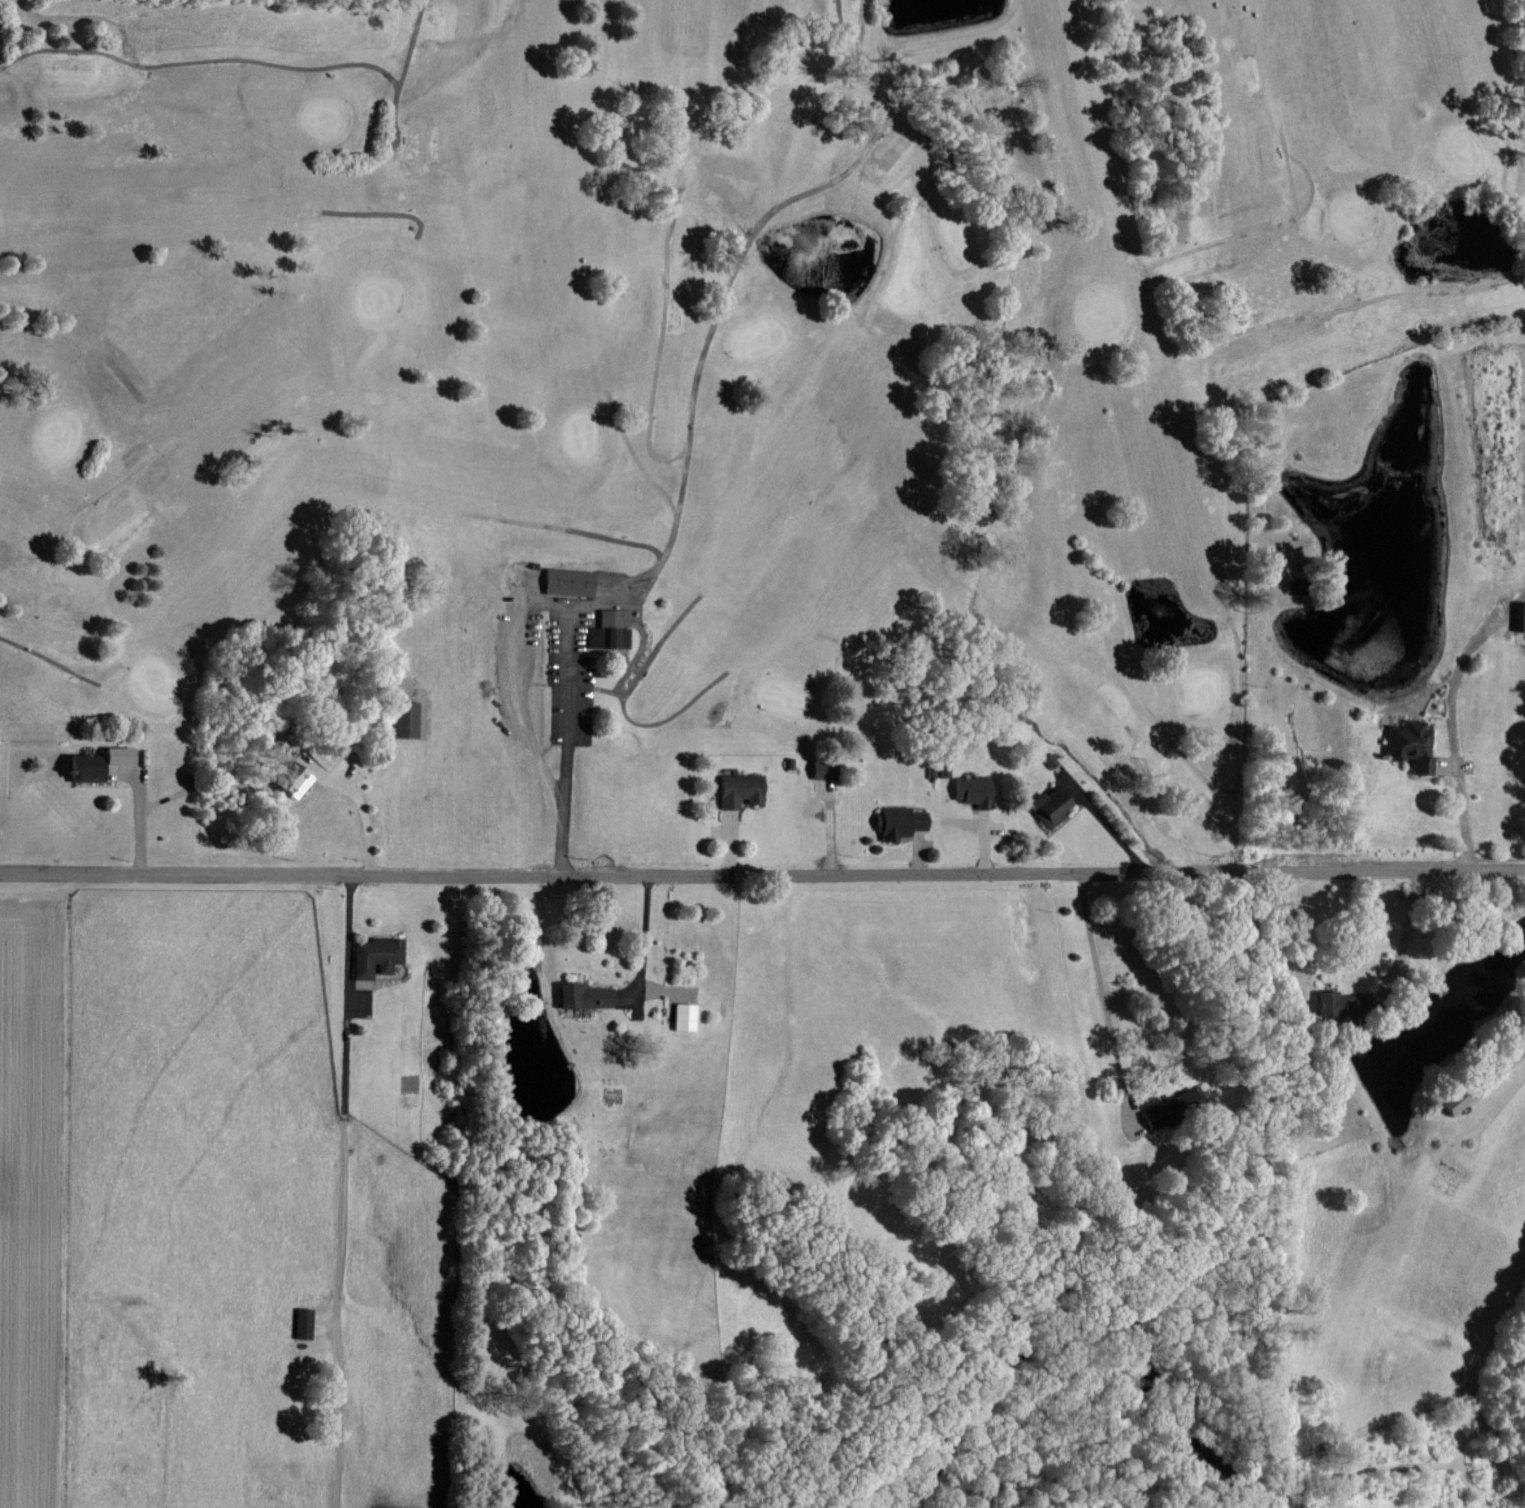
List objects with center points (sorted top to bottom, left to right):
park: (742, 387)
building: (565, 581)
building: (1518, 616)
building: (606, 630)
building: (403, 719)
road: (1453, 737)
building: (1407, 744)
building: (92, 762)
building: (819, 769)
building: (289, 780)
building: (736, 789)
building: (969, 790)
building: (1046, 805)
building: (896, 822)
road: (762, 863)
road: (1410, 926)
road: (643, 930)
building: (373, 954)
building: (582, 994)
road: (1098, 998)
building: (1332, 1003)
building: (681, 1015)
building: (1452, 1098)
building: (1170, 1106)
road: (349, 1186)
building: (300, 1322)

